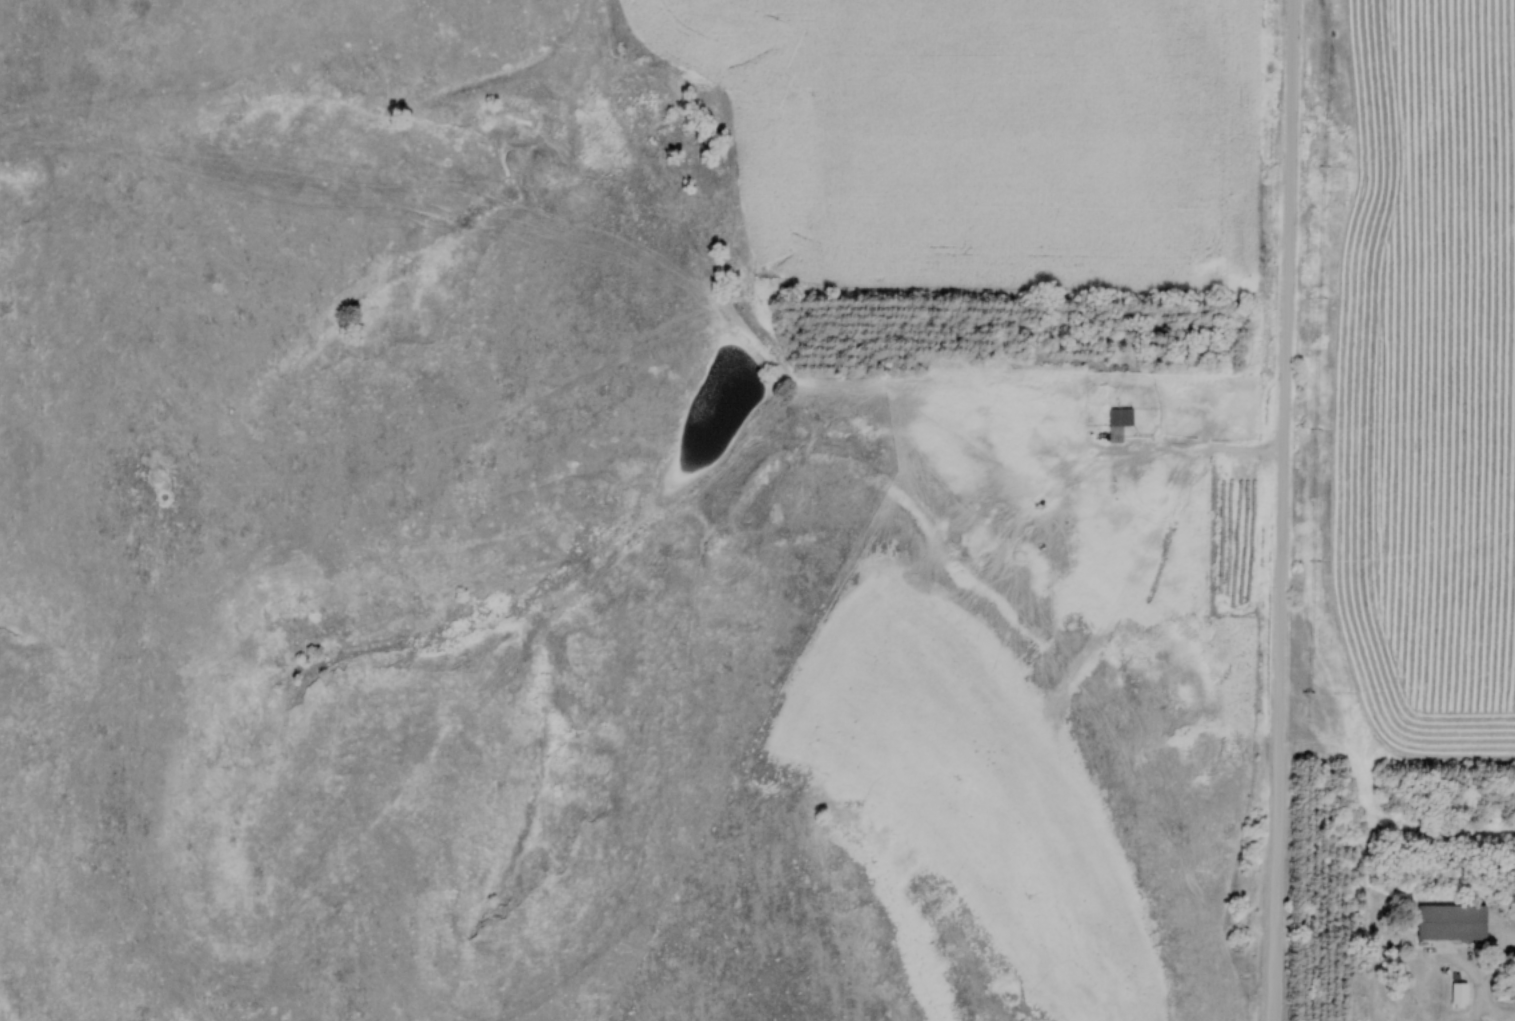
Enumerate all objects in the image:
building: (1125, 418)
road: (1200, 448)
road: (1285, 510)
building: (1459, 923)
building: (1463, 994)

